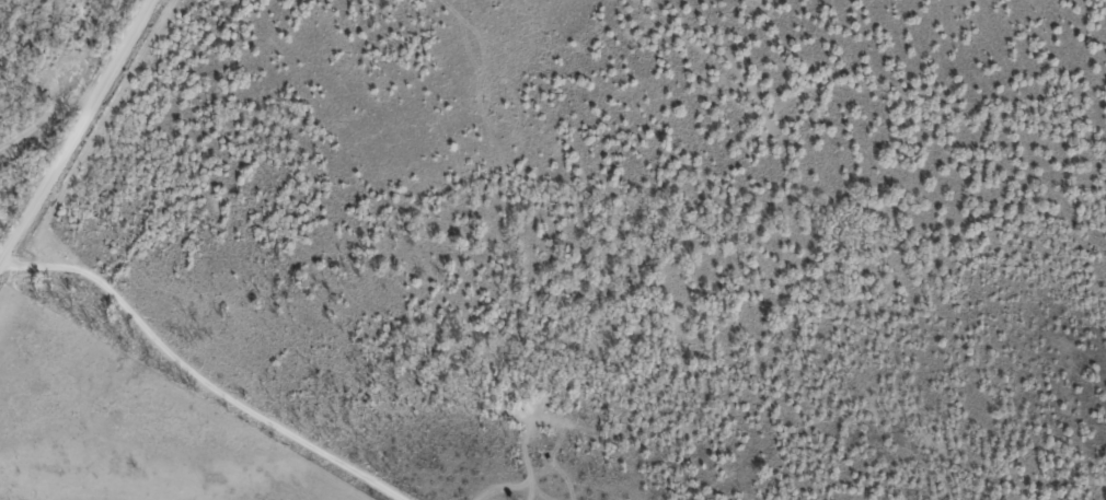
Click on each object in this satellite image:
road: (74, 130)

